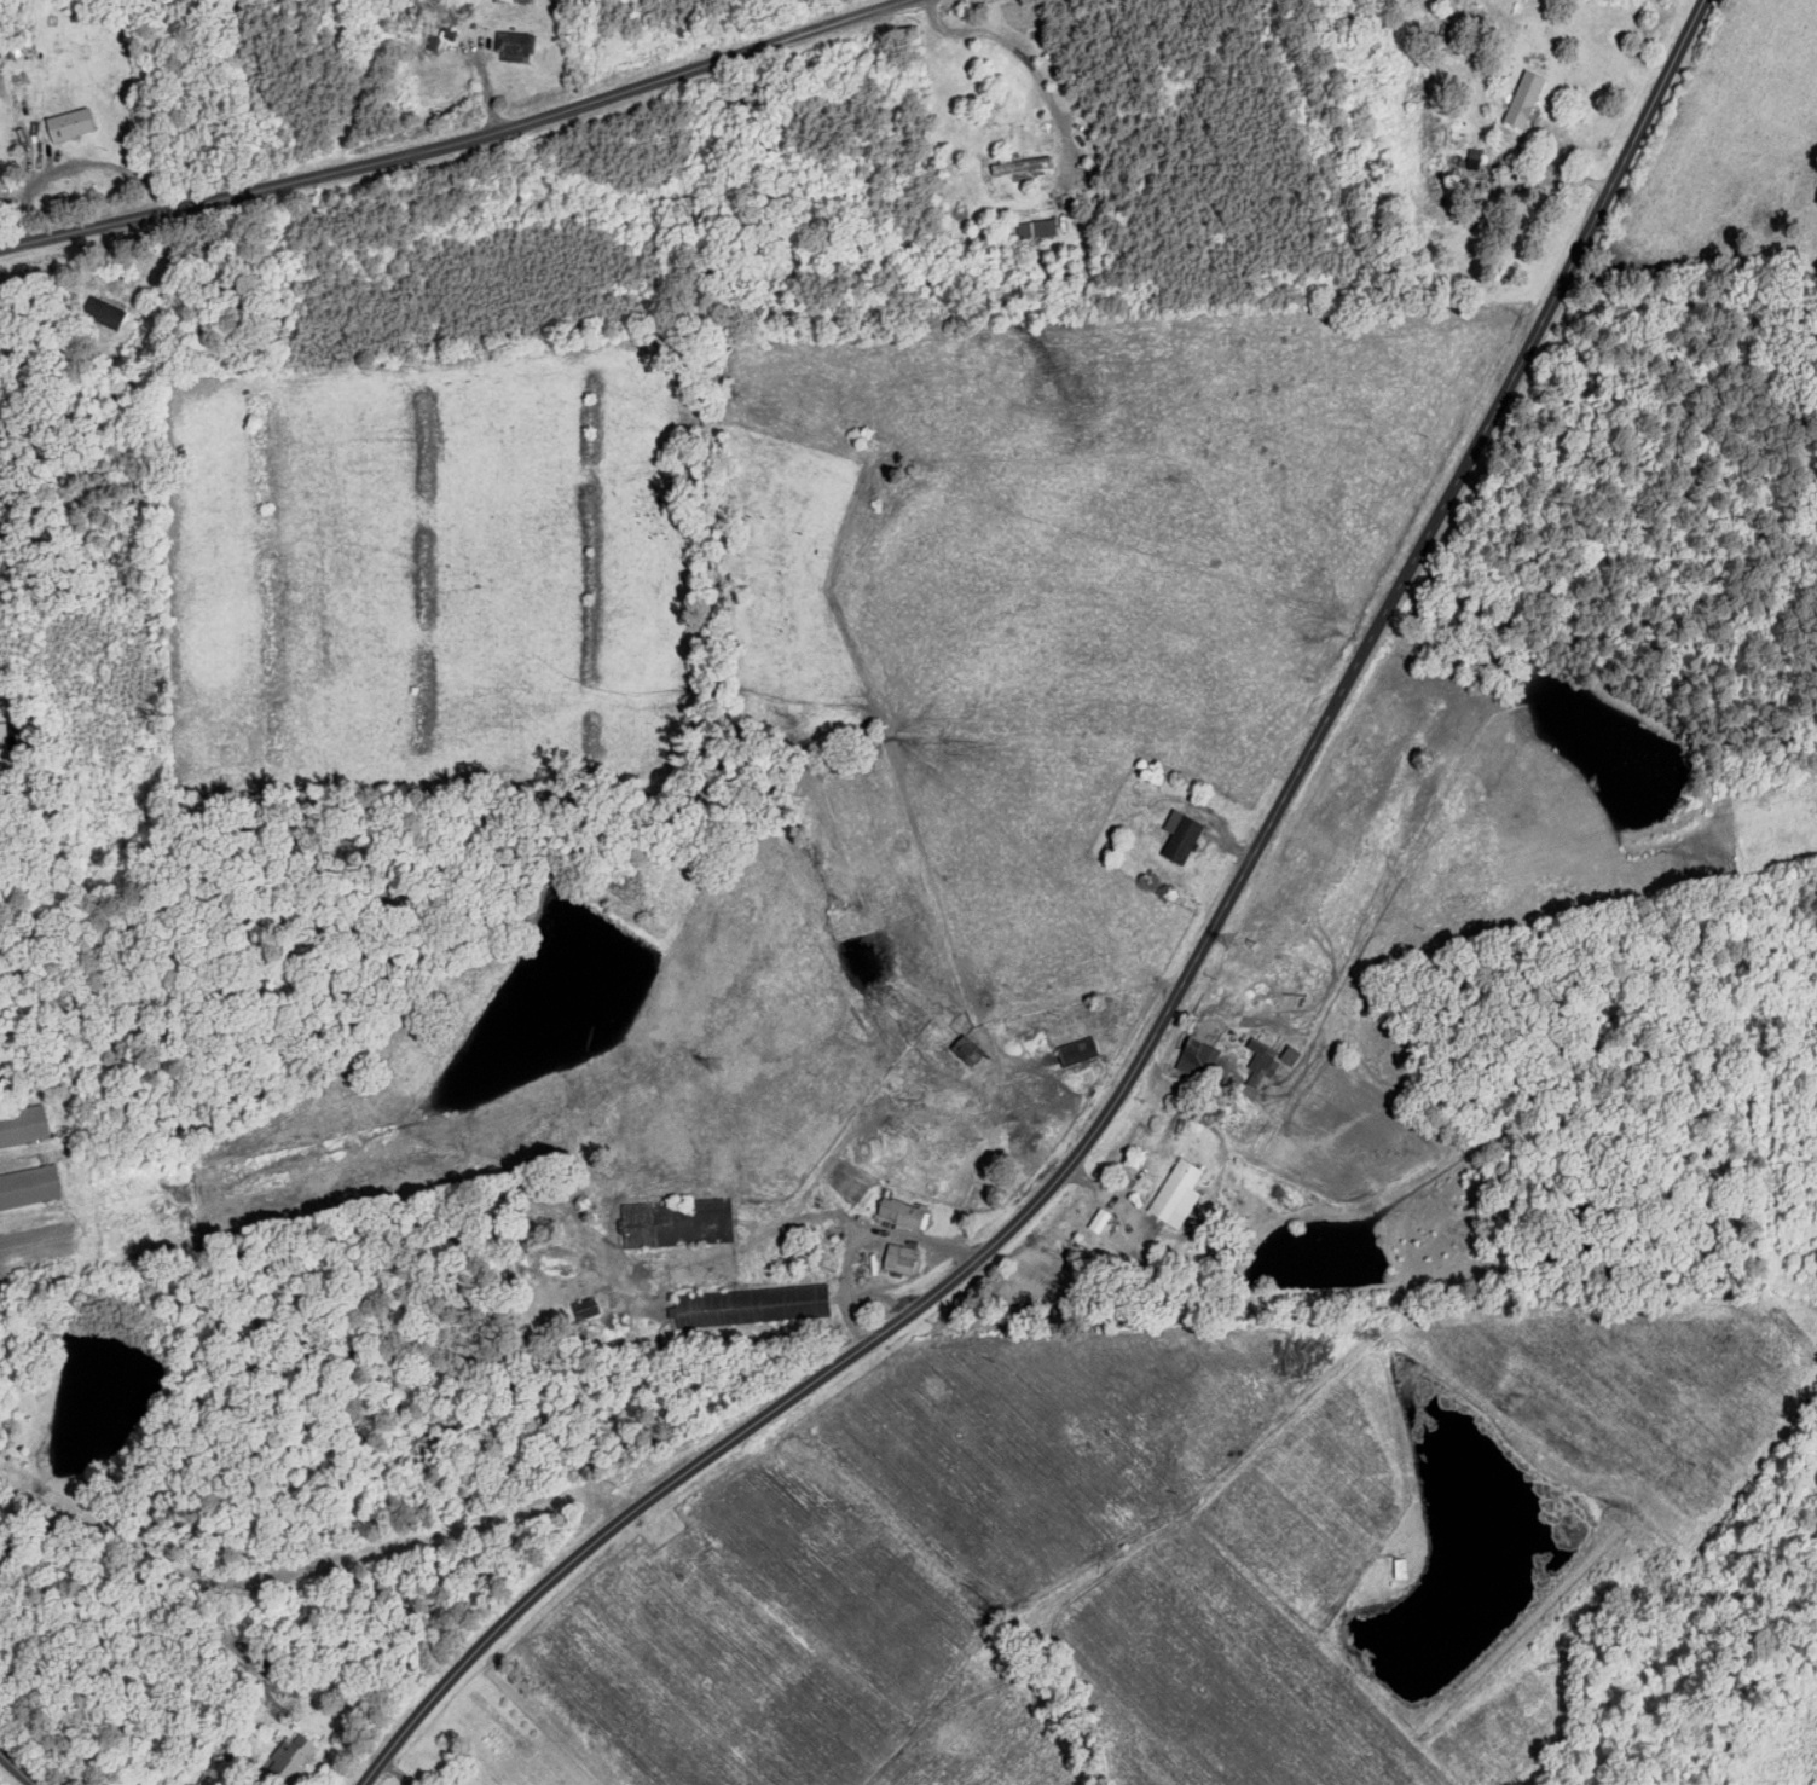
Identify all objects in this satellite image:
building: (511, 45)
building: (1521, 99)
building: (66, 123)
road: (449, 135)
building: (1017, 164)
building: (1035, 228)
building: (102, 312)
building: (2, 726)
building: (1177, 836)
power tower: (1228, 939)
road: (1169, 1004)
building: (964, 1050)
building: (1076, 1051)
building: (1286, 1056)
building: (1196, 1059)
building: (1256, 1061)
power tower: (717, 1064)
building: (22, 1129)
power tower: (181, 1195)
building: (1174, 1195)
building: (901, 1213)
building: (1096, 1221)
building: (896, 1258)
building: (750, 1305)
building: (585, 1309)
building: (290, 1757)
road: (19, 1768)

